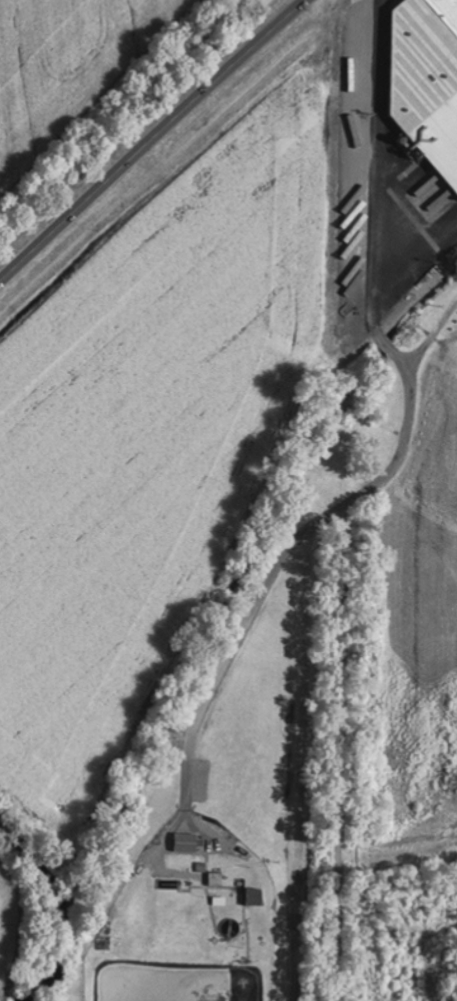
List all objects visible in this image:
building: (429, 89)
road: (152, 139)
road: (383, 194)
building: (188, 843)
building: (217, 878)

